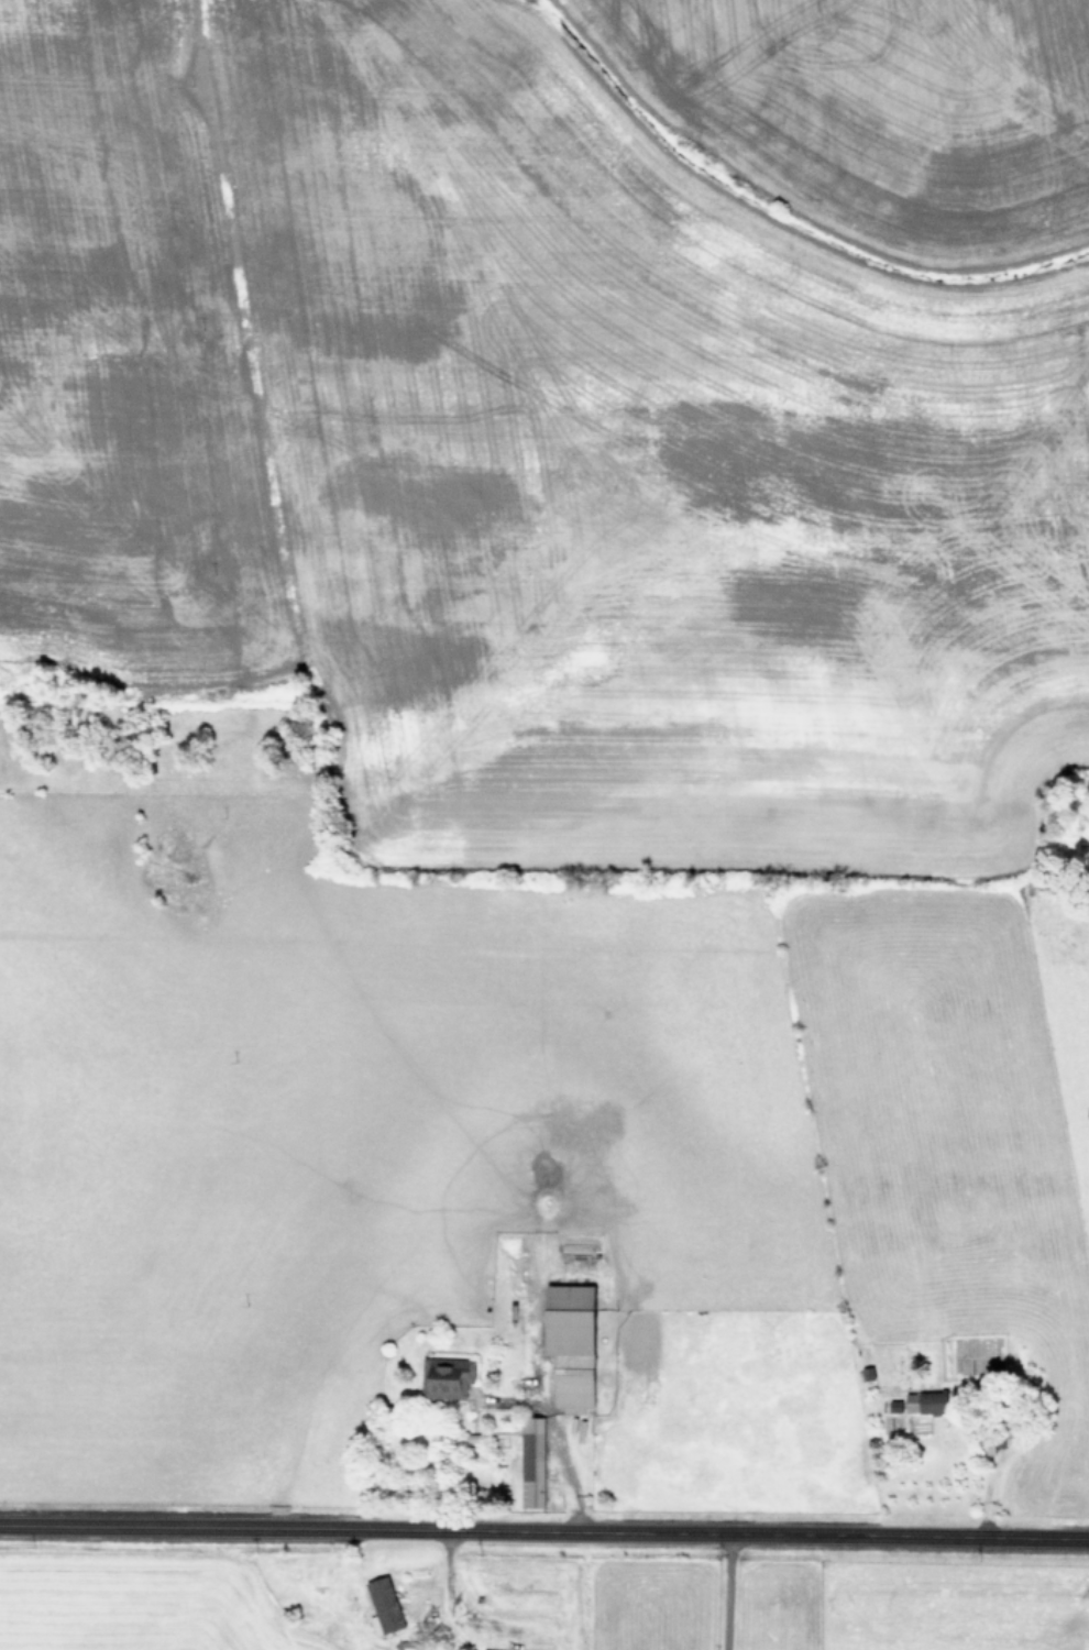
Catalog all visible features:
crop: (544, 825)
building: (568, 1343)
building: (444, 1377)
building: (923, 1402)
road: (555, 1441)
building: (529, 1462)
road: (543, 1532)
road: (453, 1592)
road: (725, 1593)
building: (381, 1606)

